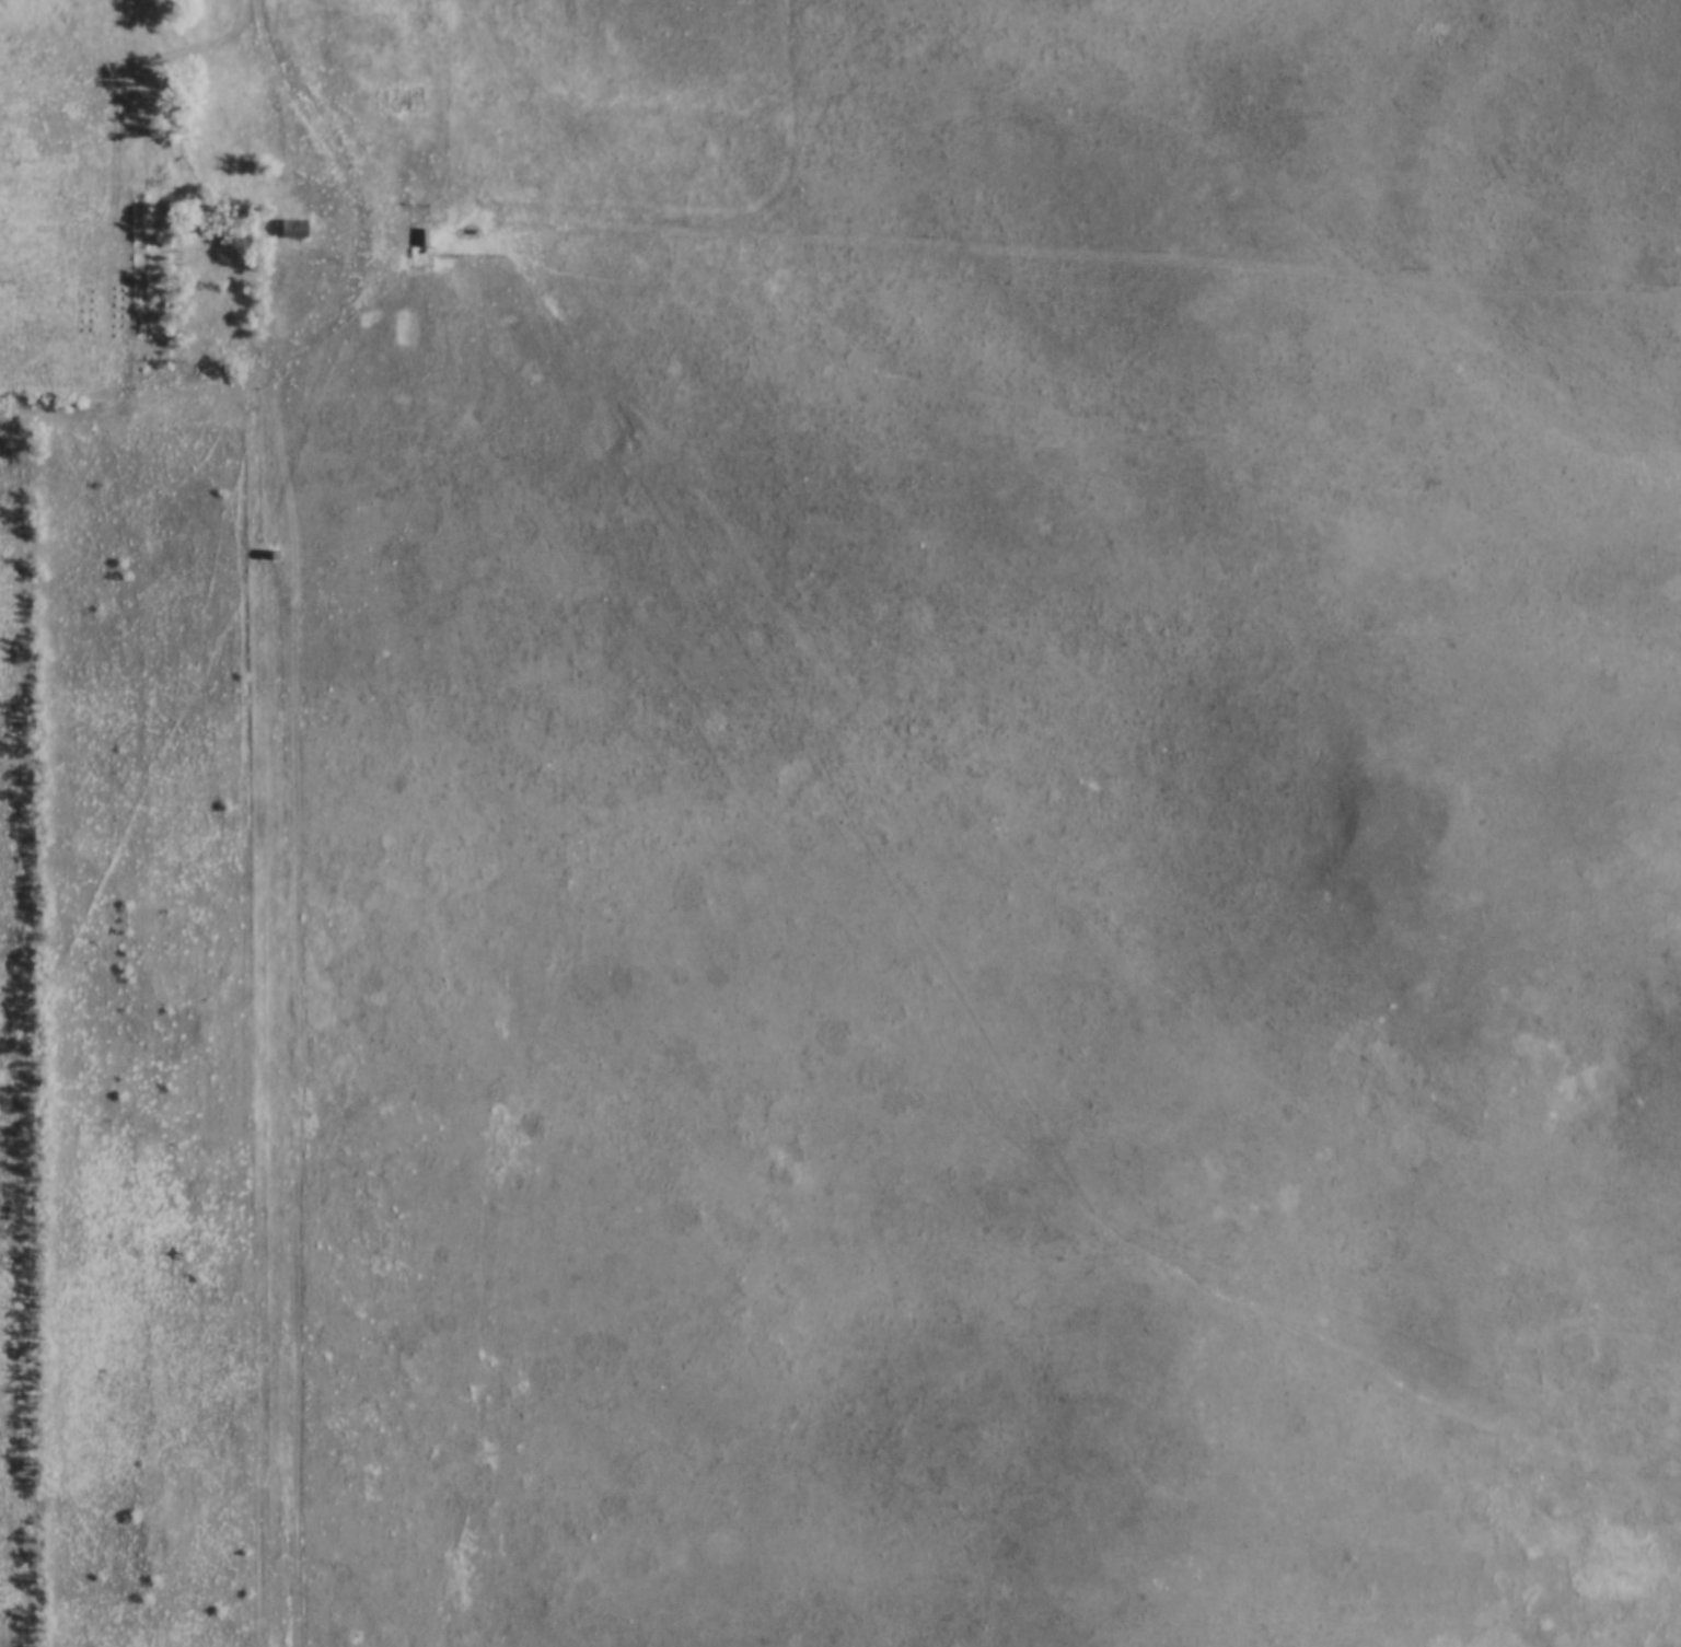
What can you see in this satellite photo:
building: (401, 97)
road: (125, 198)
building: (292, 227)

